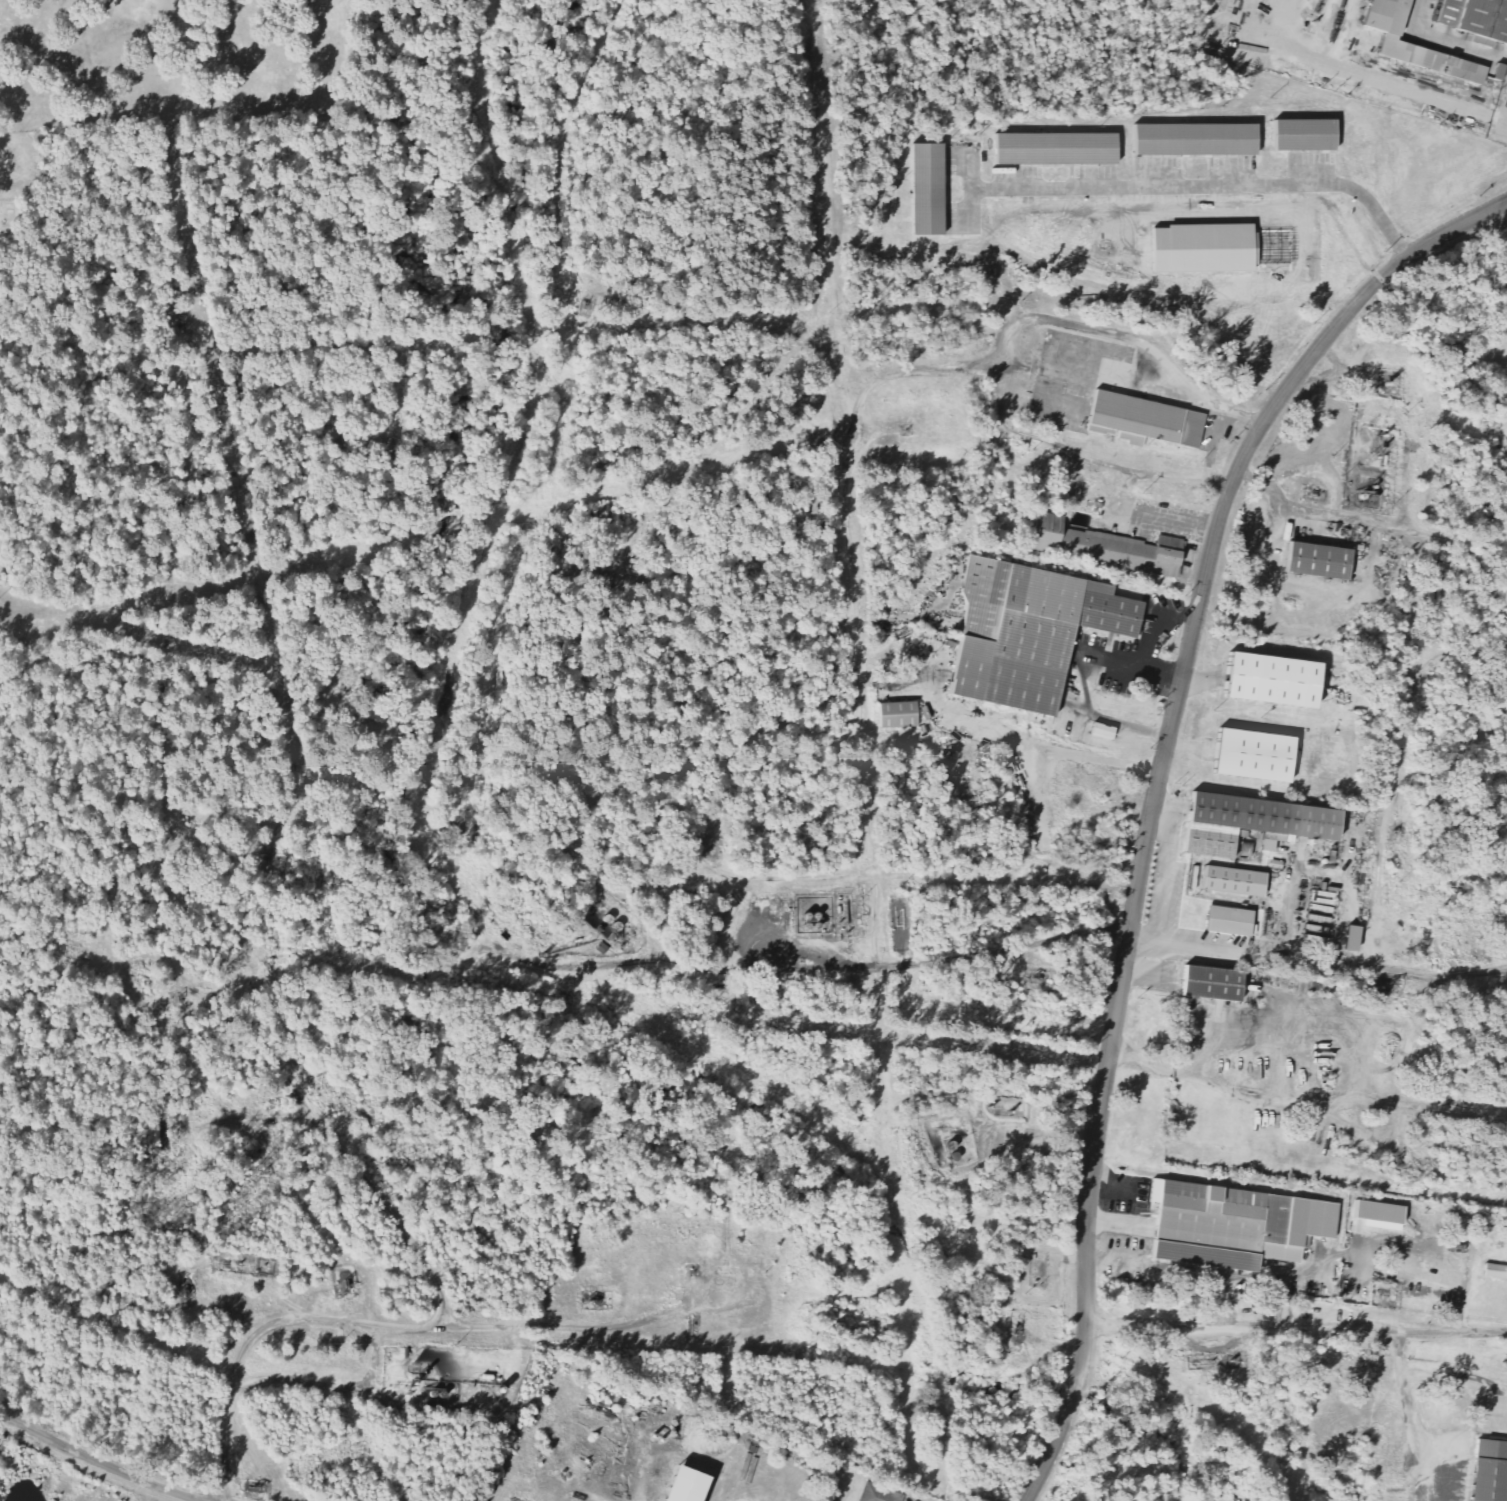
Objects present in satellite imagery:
building: (1476, 17)
road: (852, 38)
building: (1417, 45)
building: (1497, 70)
building: (1302, 136)
building: (1193, 140)
building: (1054, 149)
building: (925, 190)
road: (1504, 224)
road: (1023, 319)
road: (702, 321)
road: (845, 385)
building: (1143, 421)
road: (1214, 445)
road: (1082, 456)
road: (850, 492)
road: (1153, 514)
building: (1104, 547)
building: (1316, 560)
building: (1026, 632)
road: (1149, 637)
building: (1269, 679)
road: (1086, 694)
building: (896, 714)
road: (291, 720)
building: (1099, 731)
road: (170, 737)
building: (1252, 755)
road: (1155, 795)
building: (1249, 822)
building: (1232, 882)
road: (1378, 901)
building: (1228, 920)
building: (1349, 938)
road: (1376, 966)
road: (805, 967)
building: (1210, 983)
road: (1303, 1100)
road: (1505, 1117)
road: (240, 1119)
road: (1505, 1119)
building: (1376, 1215)
road: (580, 1221)
building: (1215, 1224)
building: (1491, 1271)
road: (469, 1327)
road: (1296, 1331)
road: (1408, 1398)
road: (97, 1461)
building: (1489, 1471)
building: (680, 1485)
building: (878, 1492)

